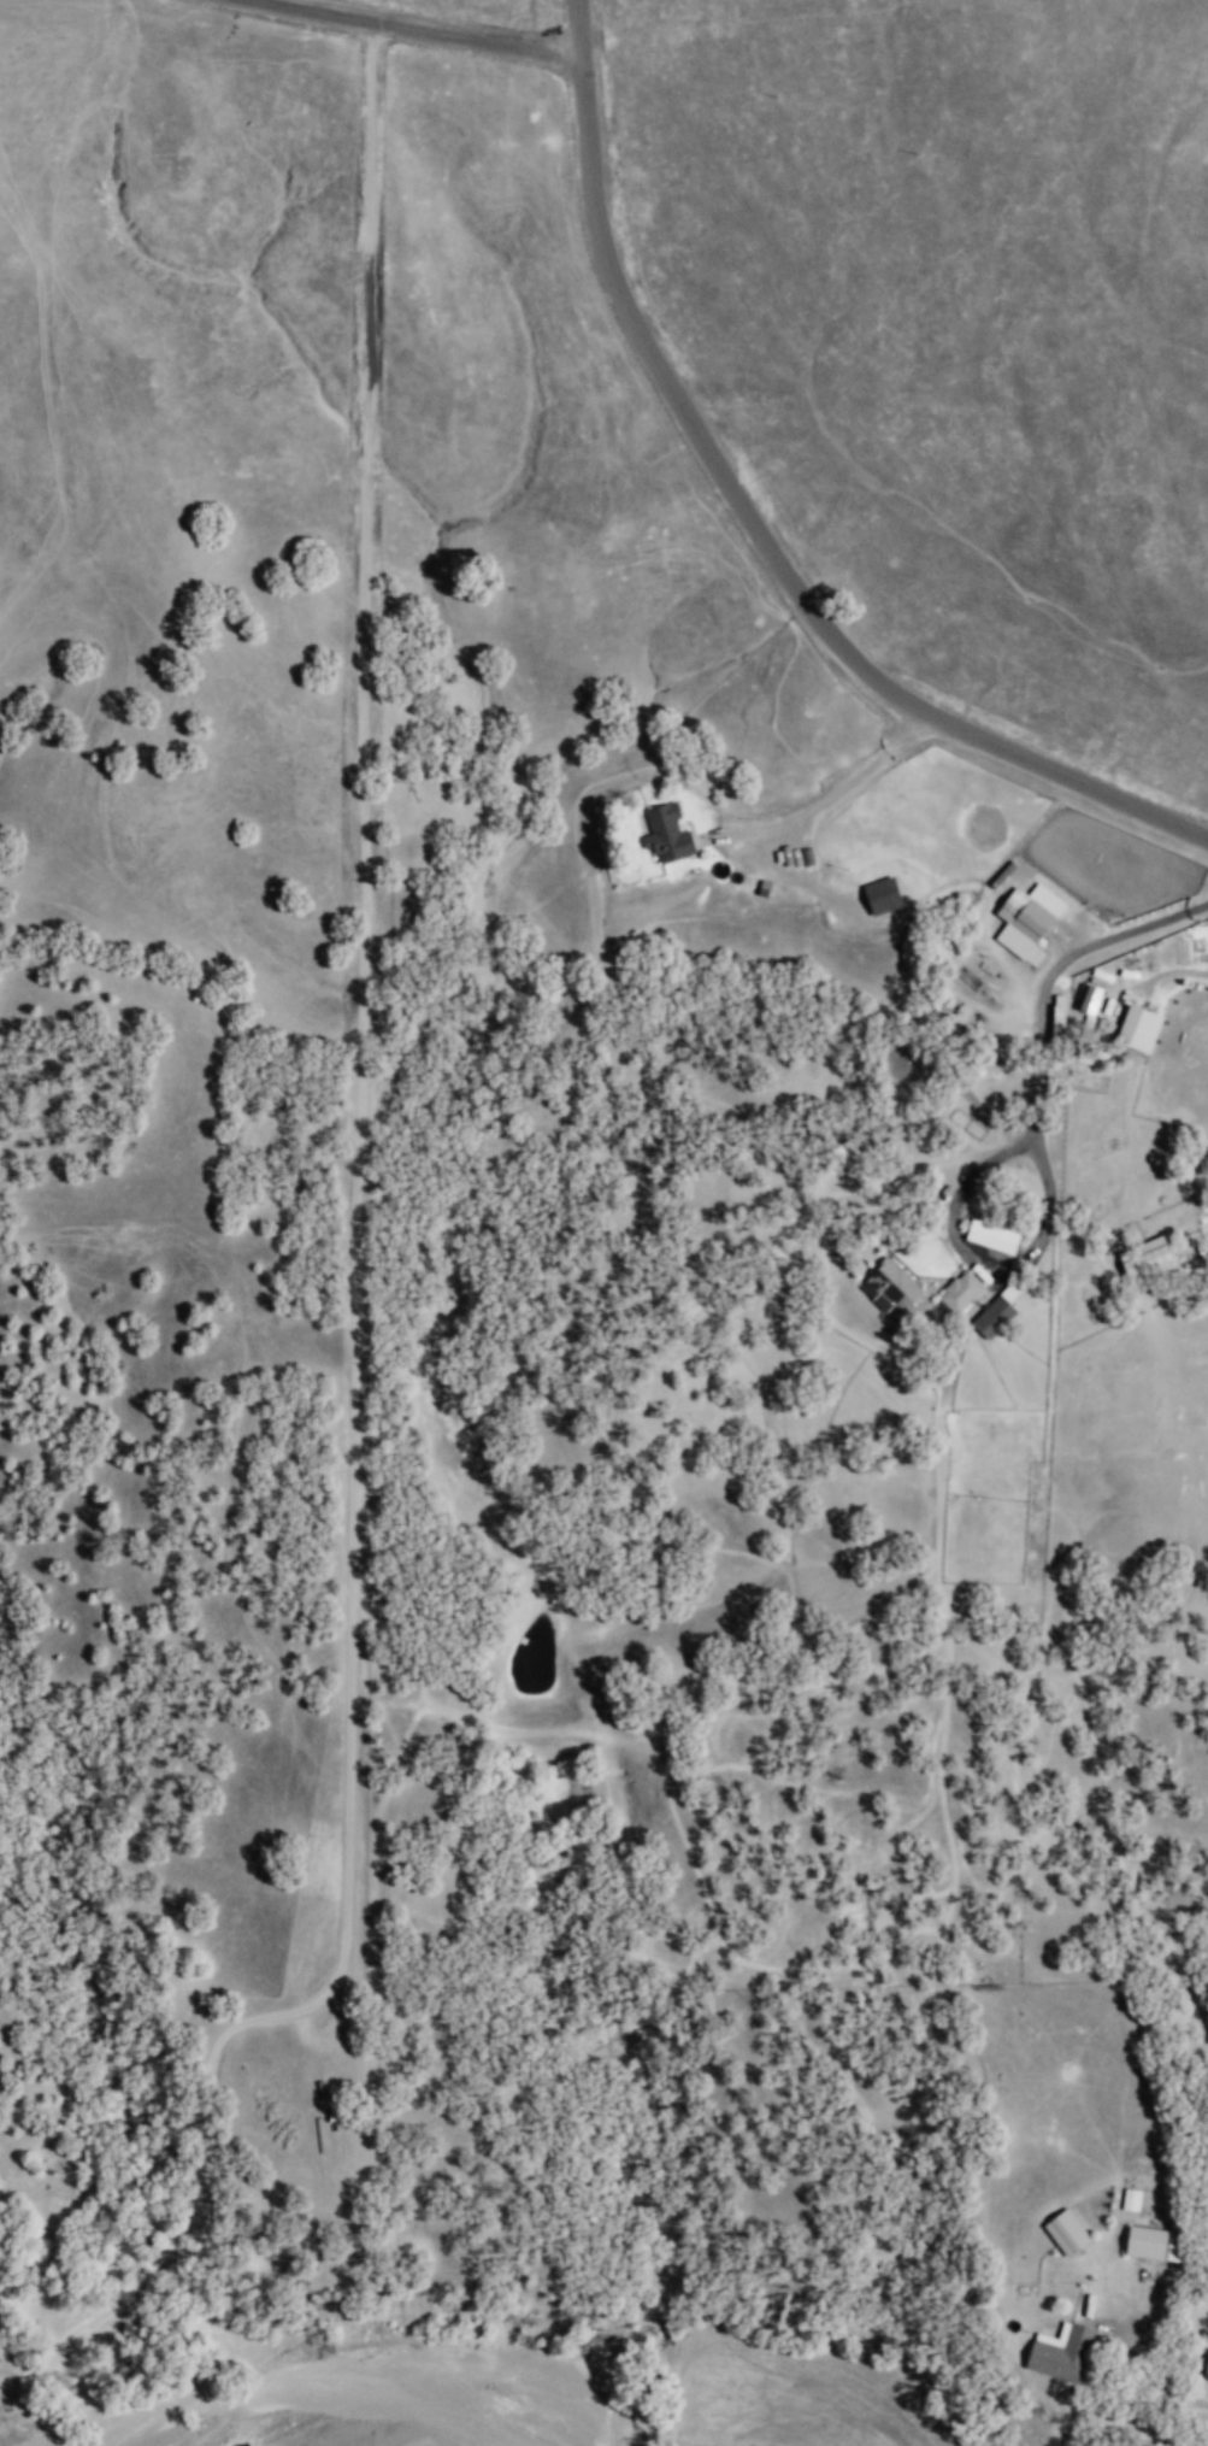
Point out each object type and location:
road: (417, 30)
road: (752, 528)
building: (665, 835)
building: (882, 895)
building: (1024, 916)
building: (1090, 999)
building: (1137, 1029)
building: (847, 1156)
building: (990, 1237)
building: (1147, 1260)
building: (889, 1287)
building: (959, 1292)
building: (996, 1311)
building: (1129, 2200)
building: (1065, 2233)
building: (1060, 2352)
river: (324, 2376)
river: (608, 2419)

